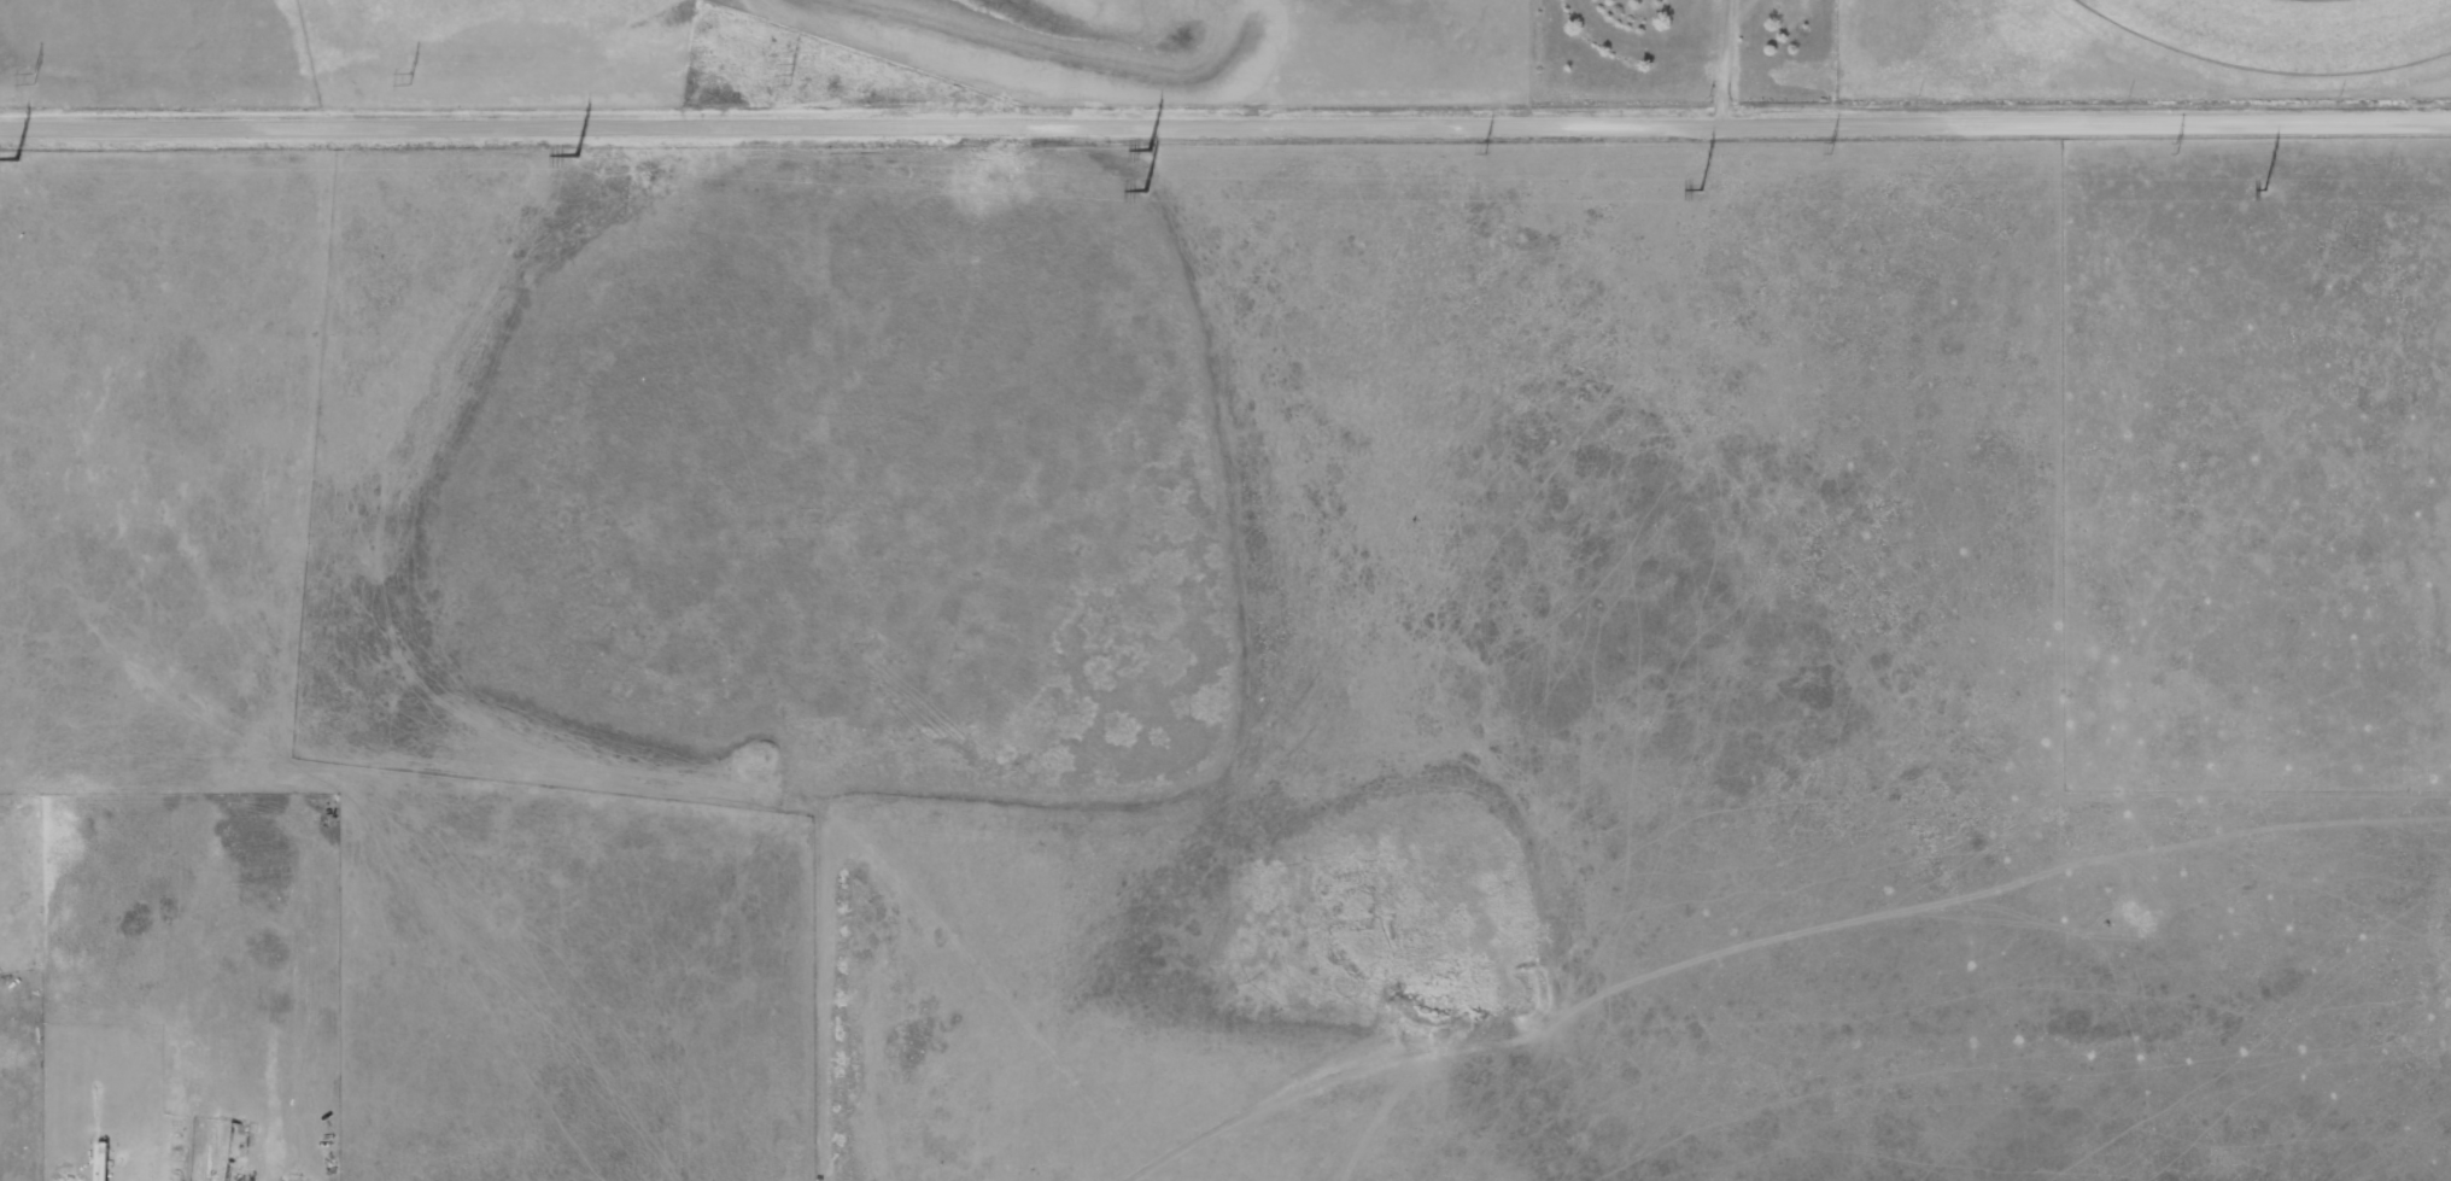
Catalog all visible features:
crop: (2281, 39)
power tower: (790, 75)
power tower: (33, 78)
power tower: (410, 80)
road: (1224, 121)
power tower: (1486, 147)
power tower: (1829, 147)
power tower: (2177, 150)
power tower: (1150, 151)
power tower: (575, 156)
power tower: (14, 159)
power tower: (1698, 189)
power tower: (2262, 189)
power tower: (1142, 192)

